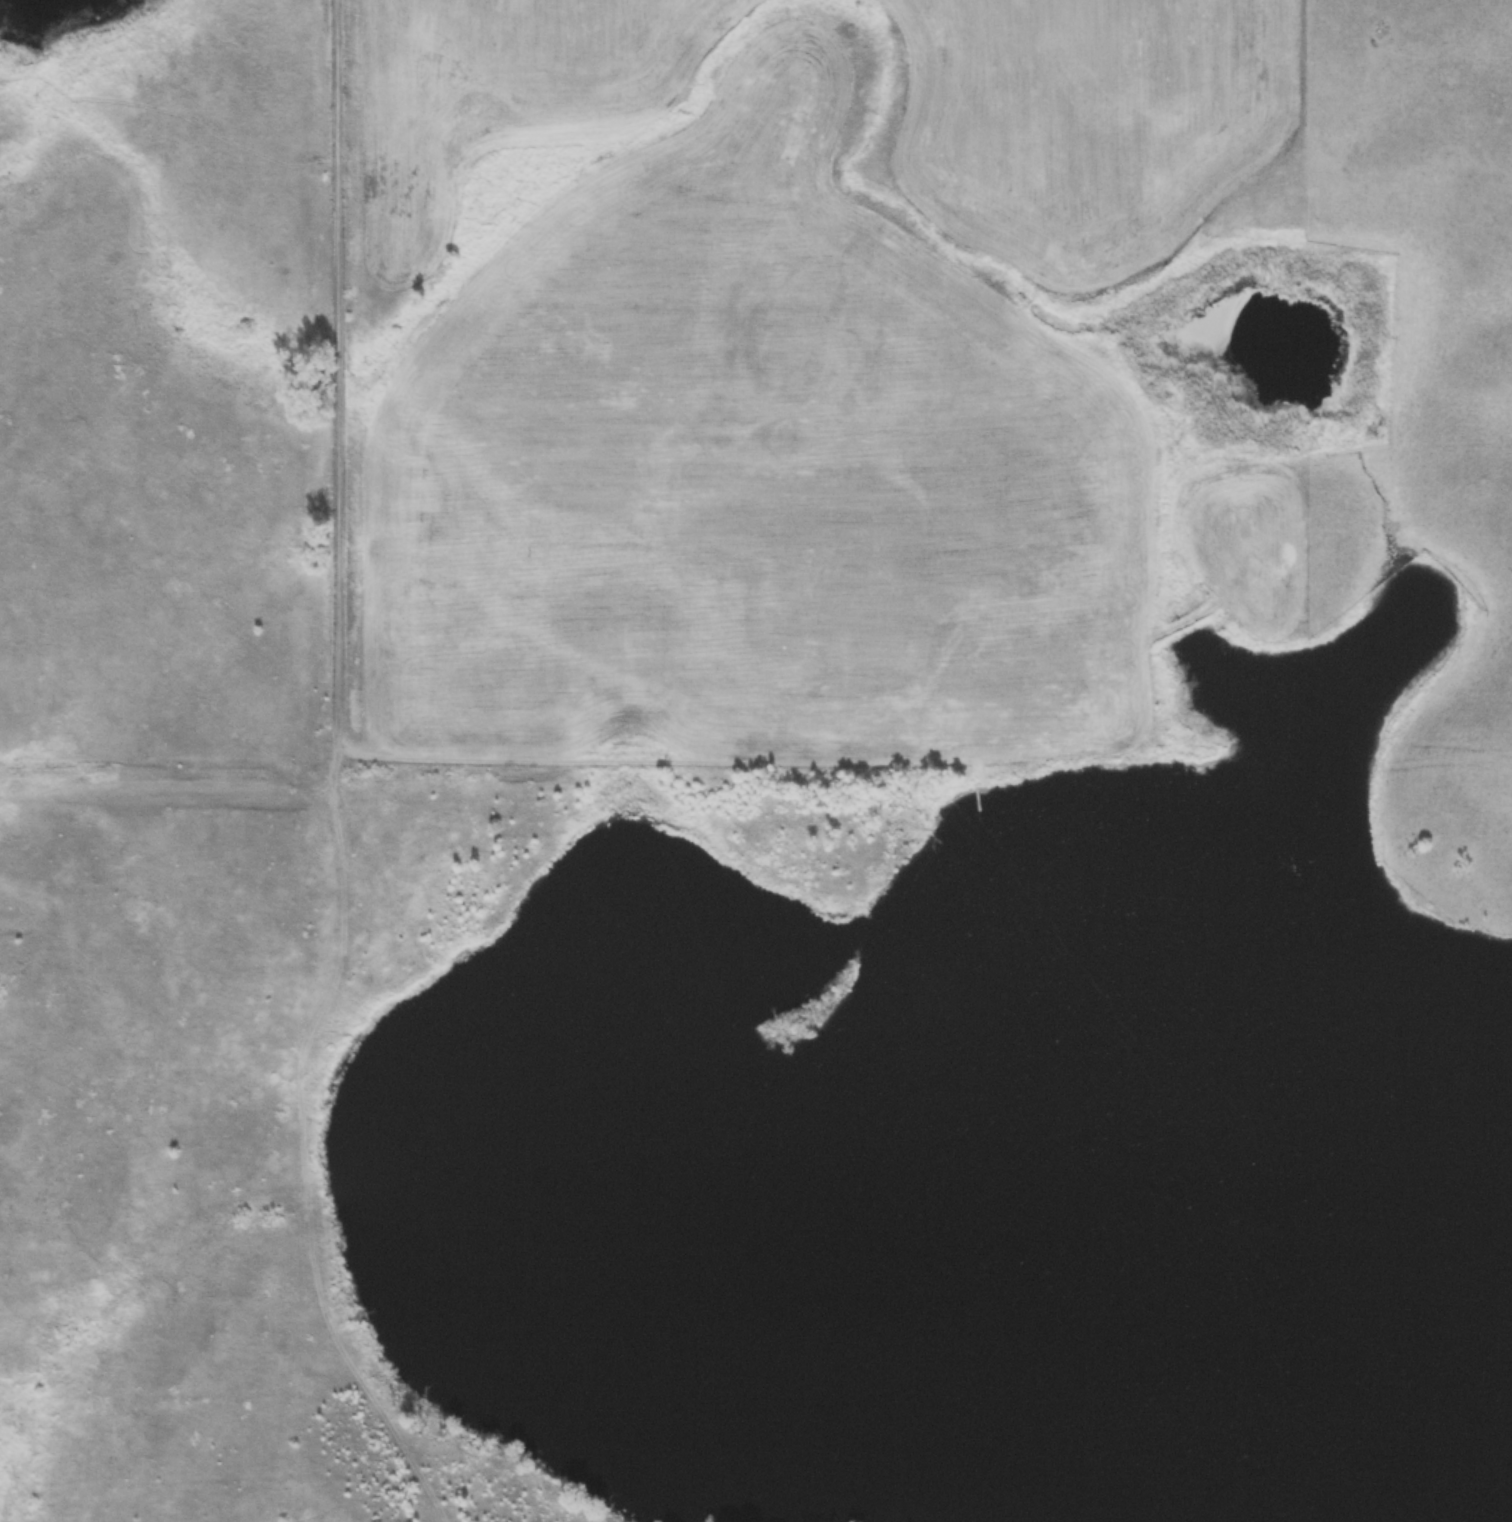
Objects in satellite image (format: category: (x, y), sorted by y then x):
road: (924, 756)
road: (335, 779)

